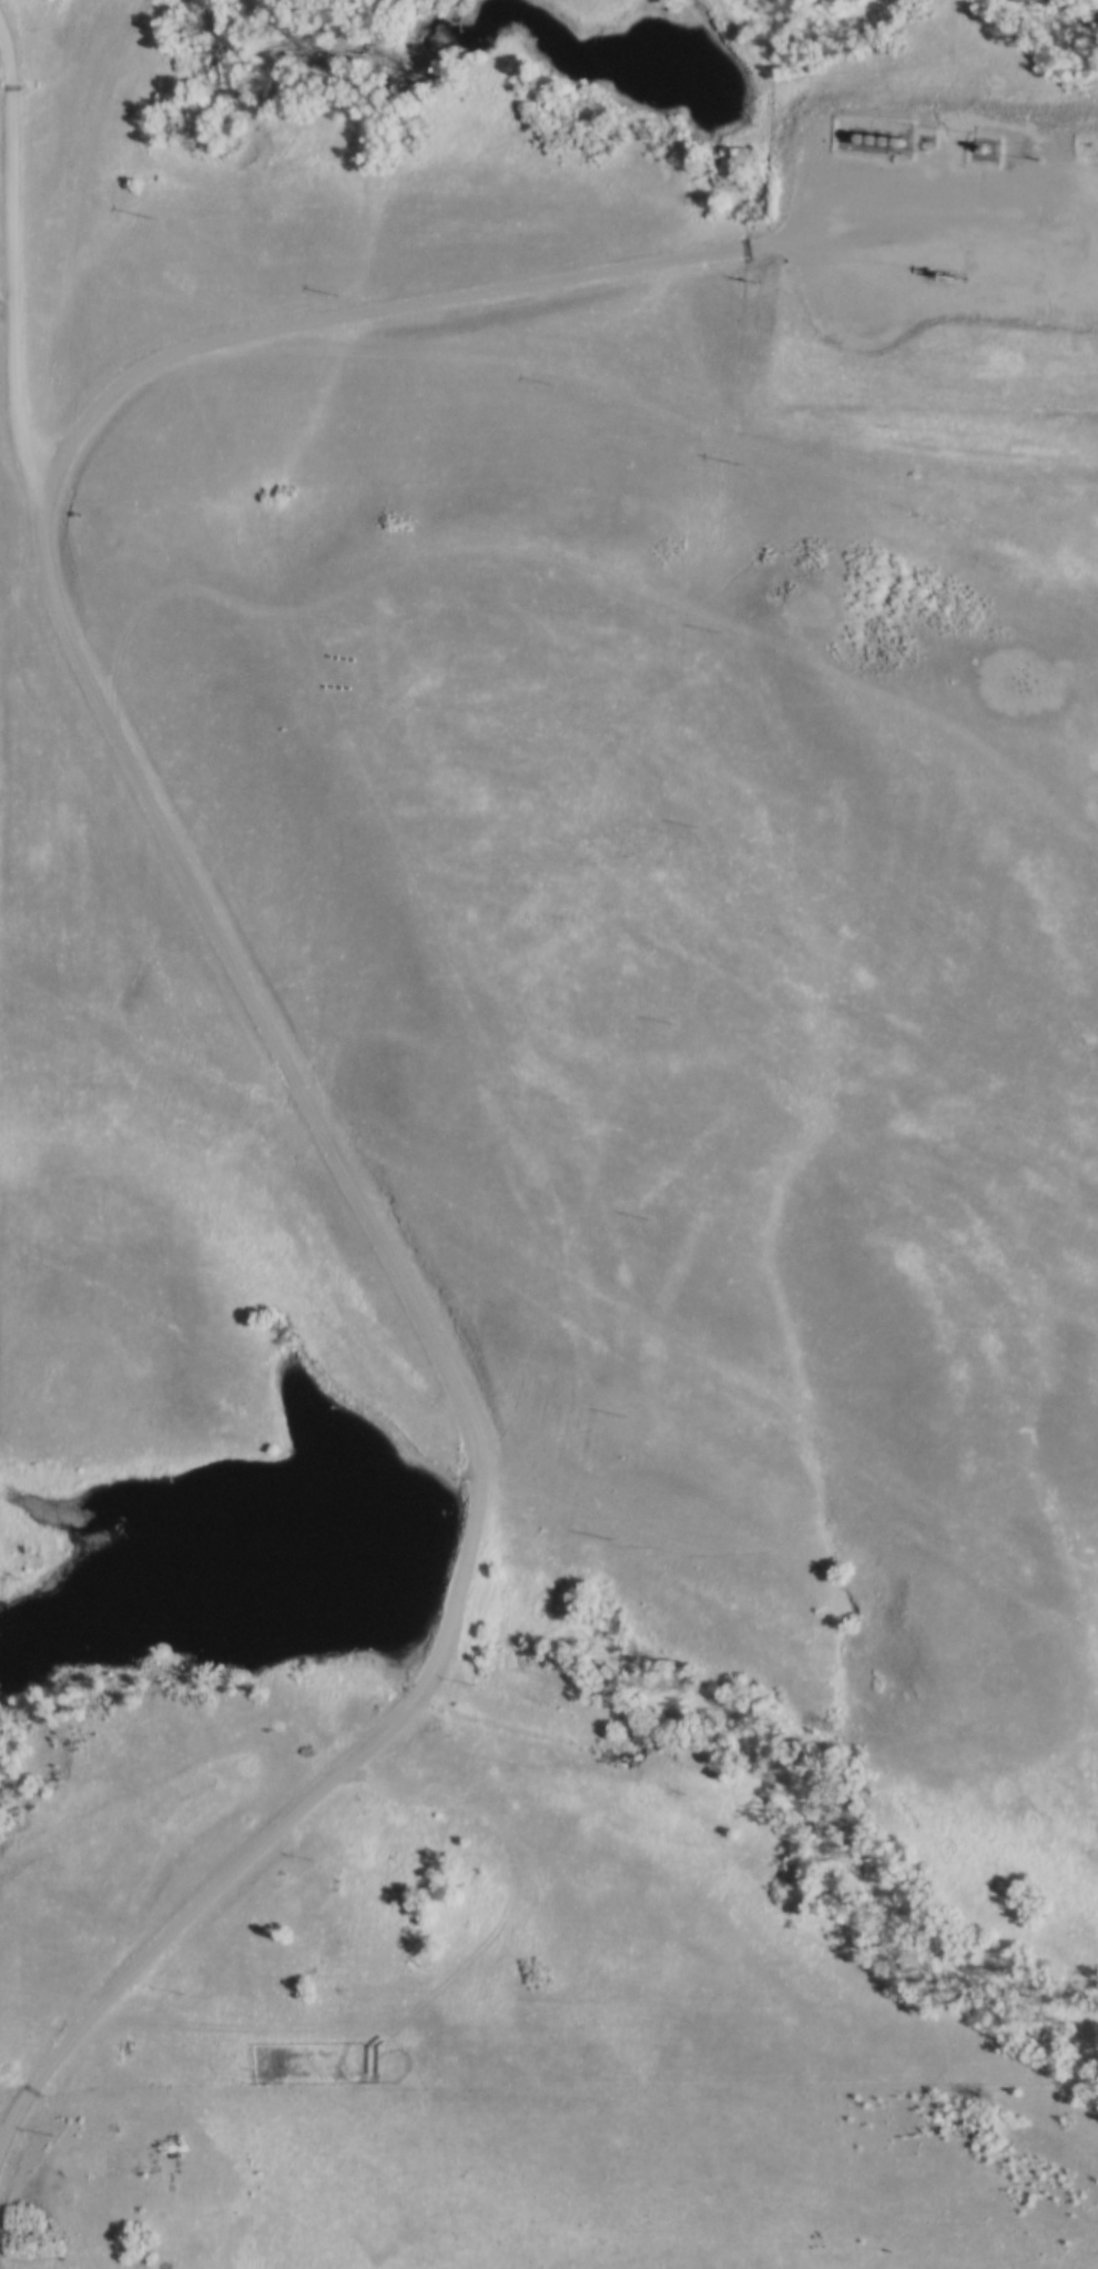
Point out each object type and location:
road: (4, 288)
road: (187, 897)

